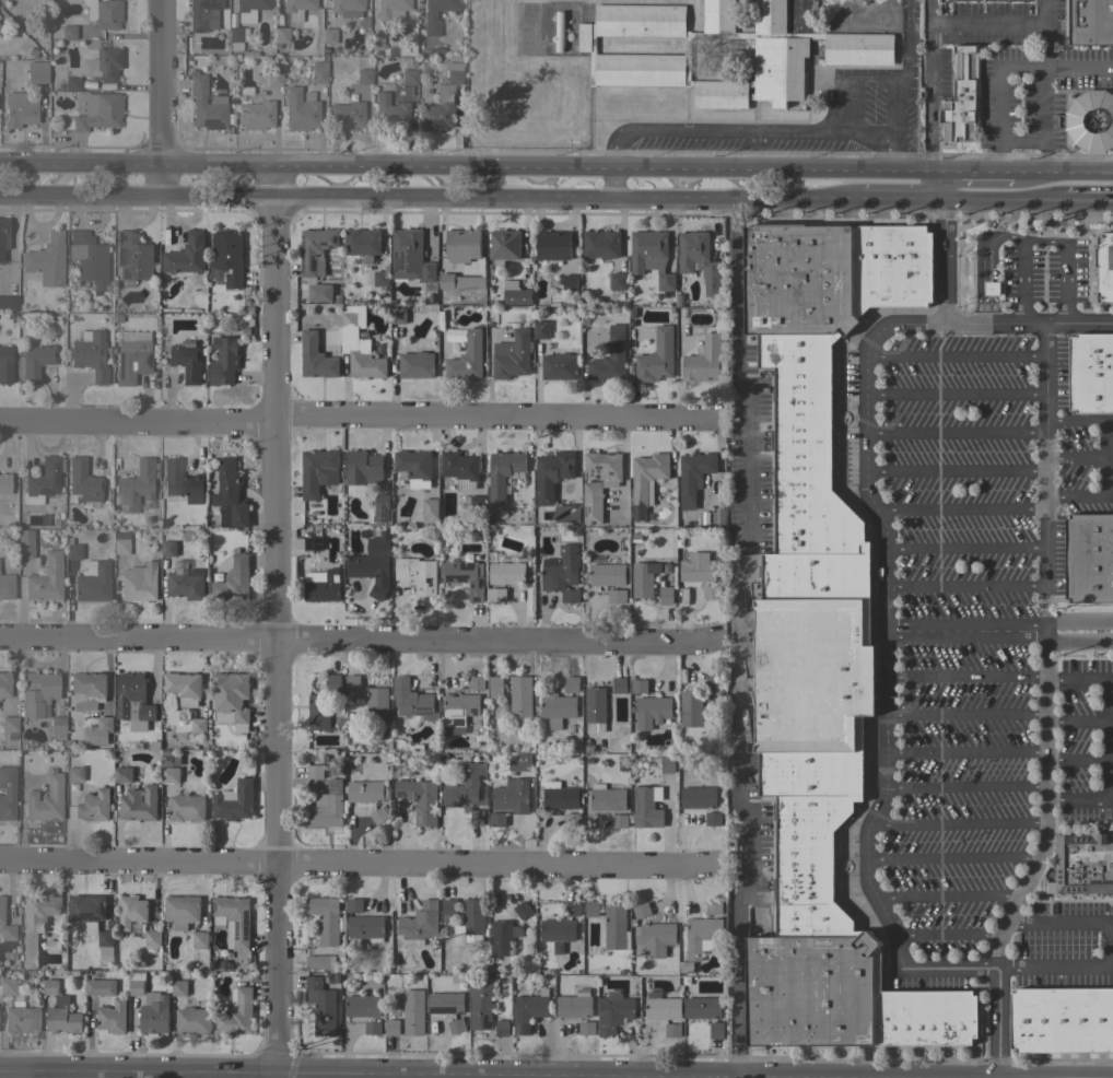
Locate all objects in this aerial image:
building: (297, 4)
building: (818, 7)
building: (347, 8)
building: (248, 9)
building: (391, 9)
road: (800, 11)
building: (104, 13)
building: (200, 13)
building: (430, 14)
road: (987, 22)
building: (1089, 22)
building: (68, 32)
building: (559, 32)
building: (328, 35)
building: (237, 36)
building: (279, 38)
building: (375, 40)
building: (640, 56)
building: (105, 66)
road: (1001, 67)
building: (37, 71)
building: (318, 72)
building: (364, 75)
building: (409, 77)
building: (273, 78)
building: (72, 83)
road: (897, 85)
road: (1044, 86)
road: (930, 87)
road: (163, 96)
building: (961, 97)
building: (442, 102)
building: (89, 103)
building: (206, 104)
building: (19, 109)
building: (300, 109)
building: (101, 113)
building: (390, 113)
building: (257, 115)
building: (347, 115)
building: (1091, 120)
rooftop solar panel: (211, 124)
road: (750, 129)
road: (865, 129)
road: (466, 171)
road: (1063, 173)
road: (973, 175)
road: (427, 199)
road: (898, 200)
road: (1000, 201)
road: (1089, 202)
building: (3, 235)
rooftop solar panel: (120, 235)
road: (1043, 241)
building: (363, 244)
building: (601, 245)
building: (462, 246)
building: (504, 246)
building: (553, 246)
road: (939, 248)
building: (316, 250)
building: (186, 255)
rooftop solar panel: (121, 256)
building: (133, 256)
building: (651, 256)
building: (410, 257)
building: (89, 258)
building: (226, 258)
building: (47, 259)
rooftop solar panel: (400, 260)
building: (699, 260)
road: (979, 263)
building: (1104, 267)
rooftop solar panel: (125, 273)
building: (382, 279)
building: (460, 281)
road: (1023, 281)
building: (570, 282)
building: (618, 282)
road: (1066, 284)
building: (992, 288)
building: (320, 293)
building: (516, 293)
building: (9, 303)
building: (350, 316)
building: (398, 316)
road: (1080, 323)
building: (541, 329)
building: (454, 335)
building: (91, 354)
building: (132, 355)
building: (316, 358)
building: (467, 358)
building: (513, 358)
building: (610, 358)
building: (656, 358)
road: (956, 359)
building: (704, 360)
building: (35, 361)
building: (224, 361)
building: (186, 362)
building: (366, 362)
building: (5, 364)
building: (417, 365)
building: (560, 366)
building: (1091, 373)
road: (956, 396)
road: (361, 421)
road: (956, 432)
road: (1105, 442)
road: (866, 447)
building: (363, 468)
building: (413, 468)
rooftop solar panel: (599, 468)
building: (460, 469)
road: (956, 470)
building: (318, 472)
building: (552, 473)
building: (503, 474)
building: (693, 476)
building: (44, 480)
building: (83, 481)
building: (137, 481)
building: (181, 481)
building: (646, 481)
building: (4, 482)
building: (599, 483)
building: (230, 495)
road: (1093, 495)
building: (475, 506)
building: (382, 507)
road: (957, 507)
building: (430, 509)
rooftop solar panel: (588, 509)
building: (719, 516)
rooftop solar panel: (595, 522)
building: (24, 542)
building: (313, 543)
building: (120, 544)
building: (167, 549)
road: (964, 550)
building: (74, 551)
building: (1089, 559)
building: (698, 567)
building: (504, 571)
building: (371, 573)
building: (607, 575)
building: (46, 577)
building: (417, 577)
building: (465, 577)
building: (560, 578)
building: (642, 578)
building: (92, 581)
building: (233, 581)
building: (139, 582)
building: (7, 586)
building: (185, 586)
building: (323, 587)
road: (965, 589)
building: (712, 593)
building: (496, 596)
building: (617, 596)
building: (665, 596)
rooftop solar panel: (312, 597)
rooftop solar panel: (327, 598)
road: (1080, 622)
road: (277, 623)
road: (966, 624)
road: (739, 637)
road: (965, 637)
road: (358, 642)
road: (1079, 643)
building: (822, 645)
road: (1046, 653)
road: (966, 677)
building: (477, 682)
road: (1077, 682)
building: (4, 683)
building: (333, 683)
building: (353, 683)
building: (572, 684)
building: (711, 684)
building: (620, 686)
building: (640, 687)
building: (89, 688)
building: (184, 688)
building: (495, 688)
building: (38, 693)
building: (131, 699)
building: (411, 699)
building: (231, 700)
building: (520, 700)
building: (377, 706)
building: (458, 708)
building: (691, 708)
rooftop solar panel: (424, 710)
building: (558, 710)
building: (595, 710)
building: (652, 712)
building: (318, 713)
rooftop solar panel: (424, 714)
road: (965, 714)
road: (1077, 722)
building: (198, 725)
building: (9, 726)
building: (57, 727)
building: (97, 733)
road: (1108, 740)
road: (965, 753)
building: (171, 758)
road: (1077, 761)
building: (518, 763)
building: (667, 765)
building: (314, 772)
rooftop solar panel: (481, 773)
building: (74, 774)
building: (122, 775)
building: (169, 775)
road: (964, 787)
building: (366, 792)
building: (7, 793)
building: (468, 793)
rooftop solar panel: (401, 795)
building: (512, 796)
building: (559, 796)
building: (699, 797)
building: (607, 798)
building: (46, 799)
building: (420, 799)
road: (1078, 800)
building: (233, 802)
building: (139, 804)
building: (94, 805)
building: (327, 807)
building: (186, 808)
building: (646, 808)
building: (378, 816)
rooftop solar panel: (421, 817)
building: (713, 819)
building: (496, 820)
building: (619, 821)
road: (959, 823)
road: (864, 846)
road: (952, 858)
building: (1082, 864)
road: (360, 865)
road: (947, 898)
building: (354, 905)
building: (714, 907)
building: (591, 909)
building: (448, 910)
building: (523, 910)
building: (573, 910)
building: (87, 911)
building: (181, 911)
building: (641, 911)
building: (131, 912)
building: (472, 917)
building: (325, 918)
building: (234, 919)
building: (419, 924)
building: (35, 925)
building: (5, 926)
building: (616, 926)
building: (366, 928)
building: (556, 933)
building: (701, 935)
road: (945, 936)
building: (465, 937)
building: (501, 938)
building: (153, 939)
building: (200, 939)
building: (657, 939)
building: (105, 942)
building: (52, 947)
road: (1109, 949)
building: (317, 962)
building: (211, 965)
building: (686, 968)
building: (137, 983)
building: (8, 986)
building: (101, 987)
building: (179, 988)
building: (446, 1003)
building: (481, 1003)
building: (324, 1007)
building: (362, 1007)
building: (574, 1007)
building: (663, 1008)
building: (703, 1008)
building: (60, 1011)
building: (529, 1011)
building: (413, 1012)
building: (613, 1012)
building: (154, 1013)
building: (237, 1013)
building: (113, 1017)
rooftop solar panel: (517, 1017)
building: (21, 1018)
building: (1062, 1020)
building: (194, 1021)
building: (457, 1026)
rooftop solar panel: (526, 1027)
building: (372, 1028)
building: (393, 1028)
building: (502, 1028)
building: (587, 1029)
rooftop solar panel: (516, 1030)
building: (717, 1030)
building: (672, 1031)
road: (320, 1074)

